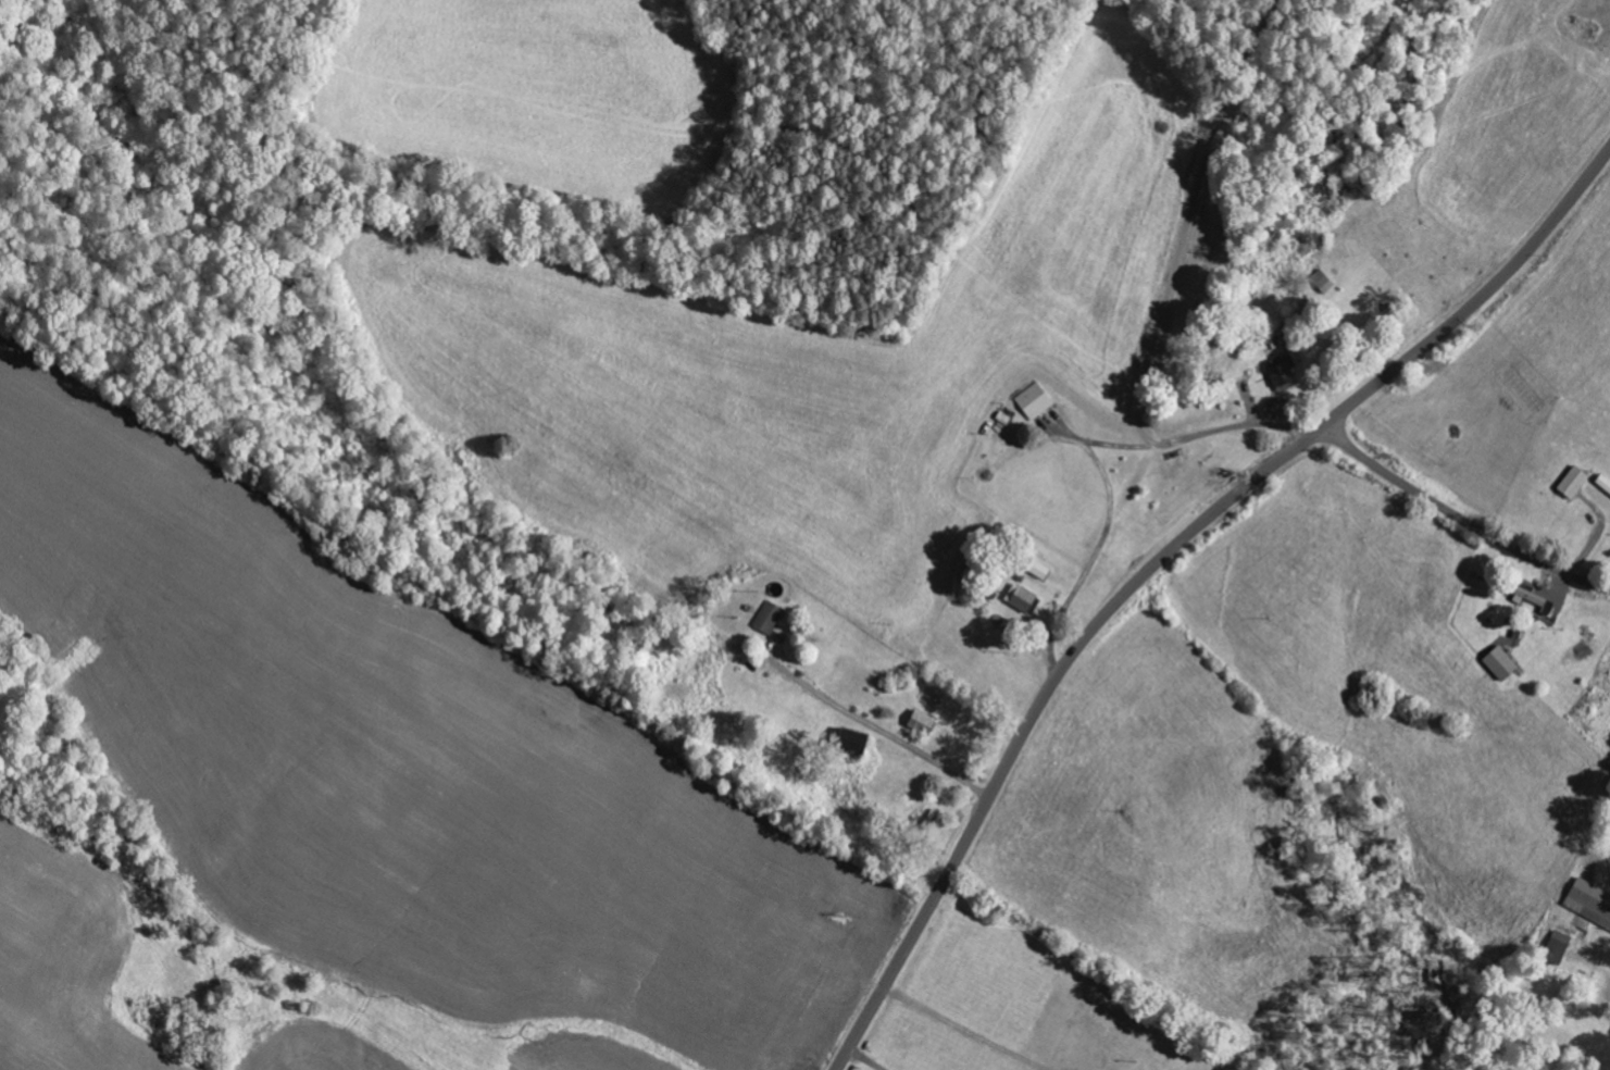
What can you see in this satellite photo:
building: (1283, 370)
building: (1033, 398)
road: (947, 401)
building: (1575, 481)
building: (1605, 482)
road: (1461, 520)
road: (1162, 560)
building: (1041, 569)
building: (1022, 597)
building: (767, 615)
building: (1502, 662)
building: (924, 721)
building: (1561, 941)

